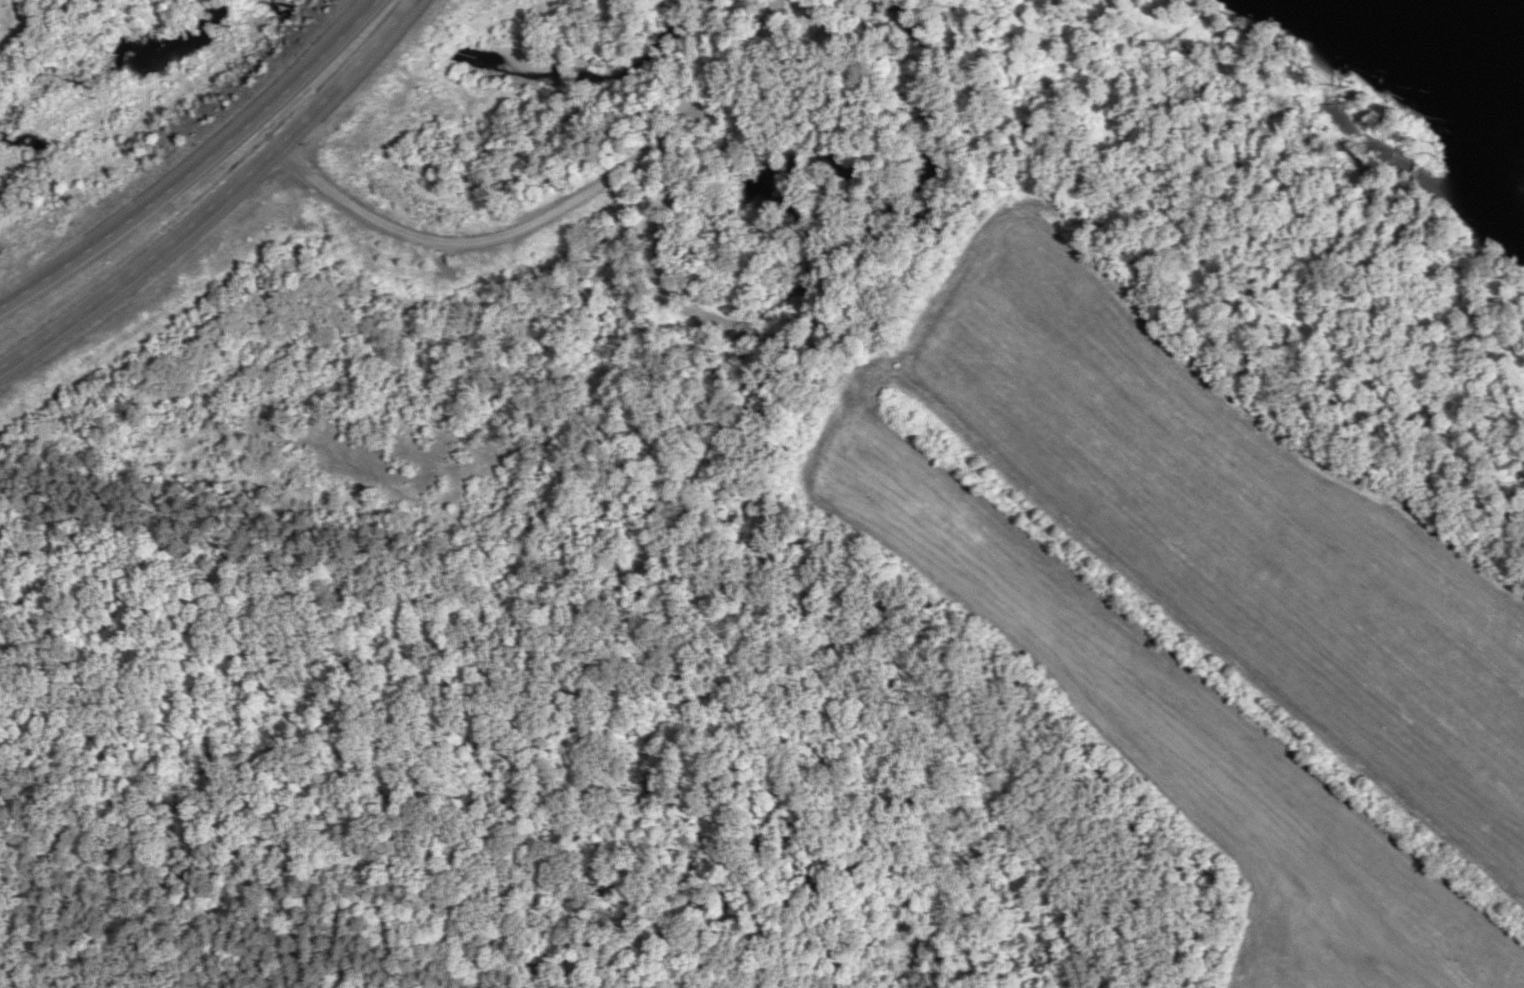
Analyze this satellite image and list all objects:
road: (198, 166)
road: (222, 190)
road: (563, 201)
road: (282, 208)

